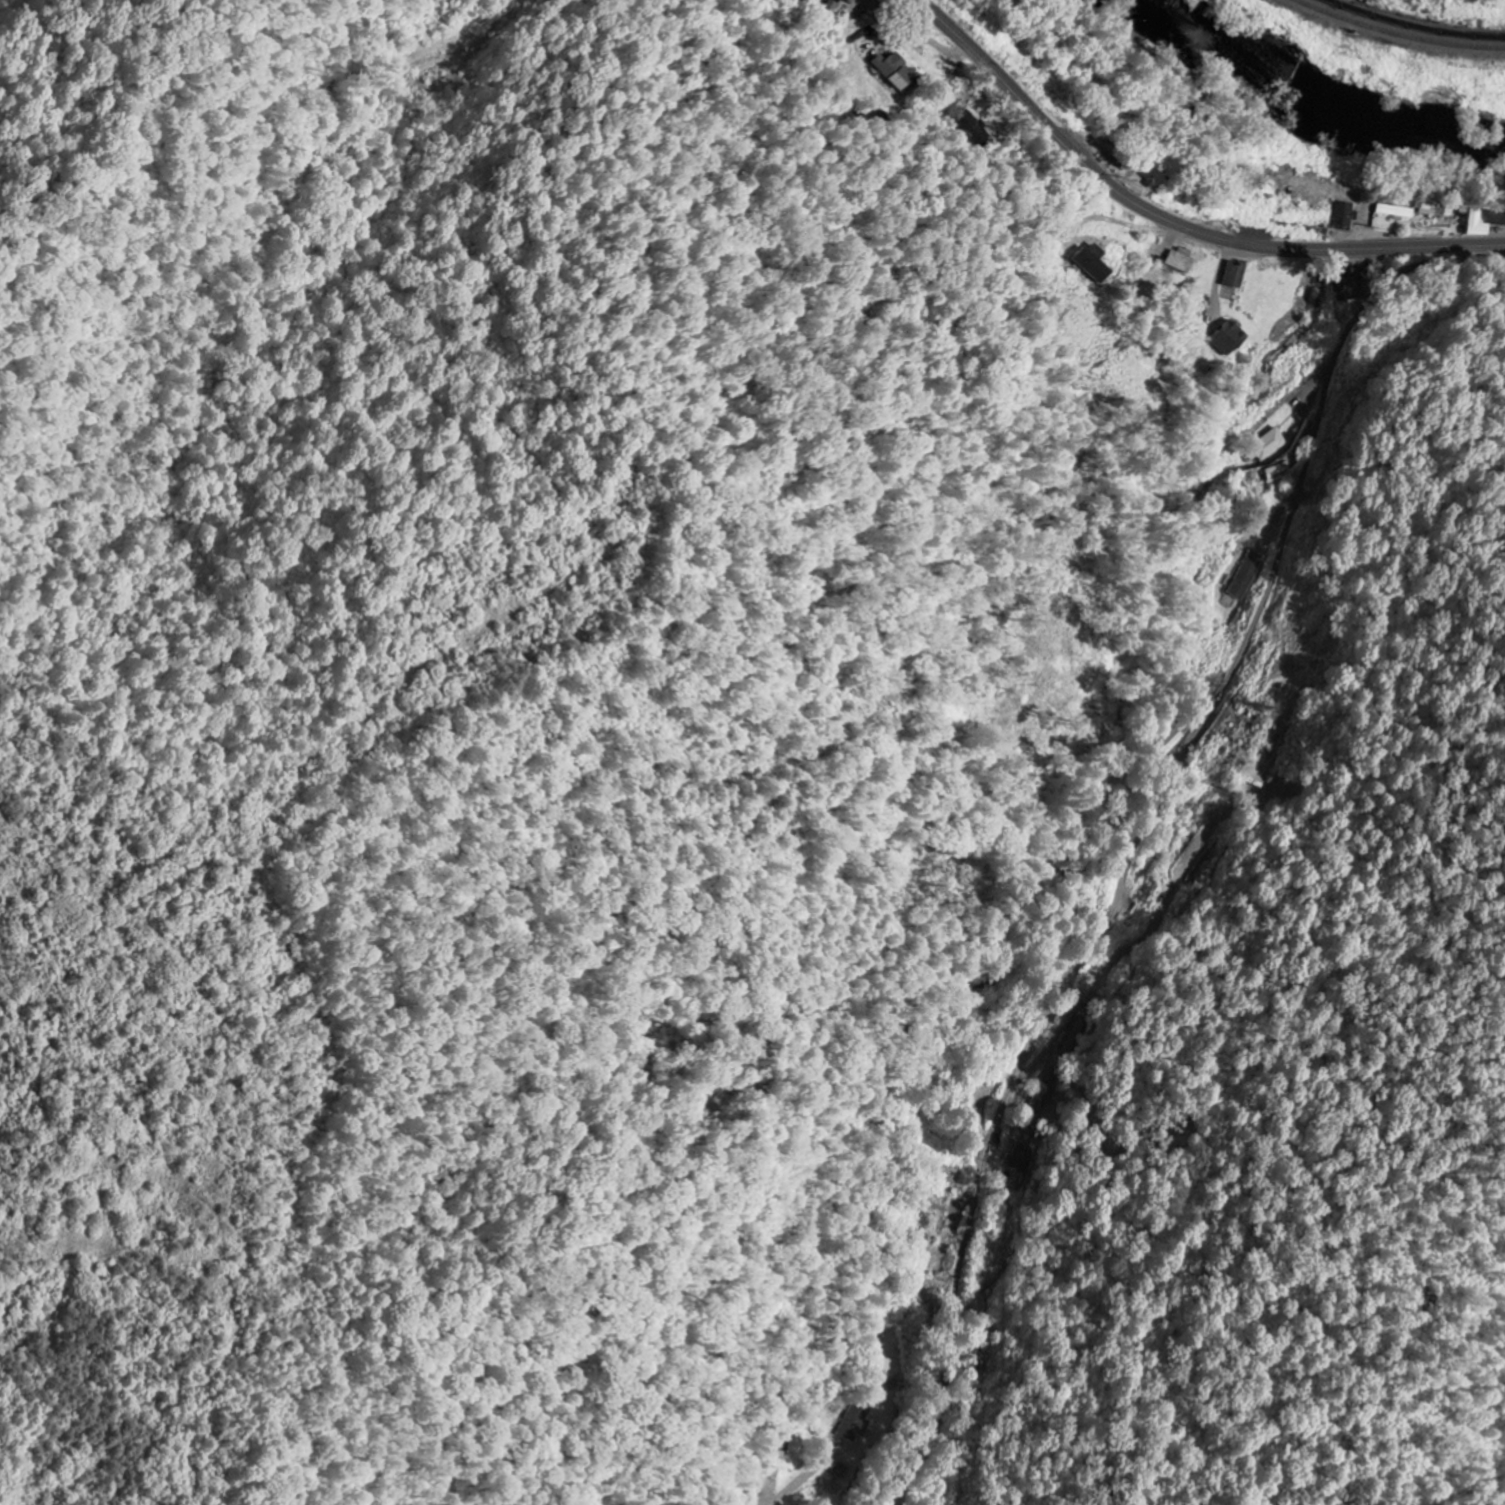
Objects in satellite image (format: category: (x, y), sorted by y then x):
building: (837, 1)
railway: (1416, 25)
railway: (1399, 33)
building: (893, 71)
river: (1314, 99)
building: (1154, 177)
building: (1433, 211)
building: (1394, 212)
building: (1344, 216)
road: (1085, 219)
road: (1171, 221)
building: (1483, 222)
building: (1180, 261)
building: (1093, 264)
building: (1235, 275)
road: (1389, 281)
building: (1229, 339)
building: (1265, 447)
building: (1247, 576)
building: (1169, 742)
road: (1124, 871)
road: (1134, 947)
building: (931, 1233)
building: (779, 1450)

